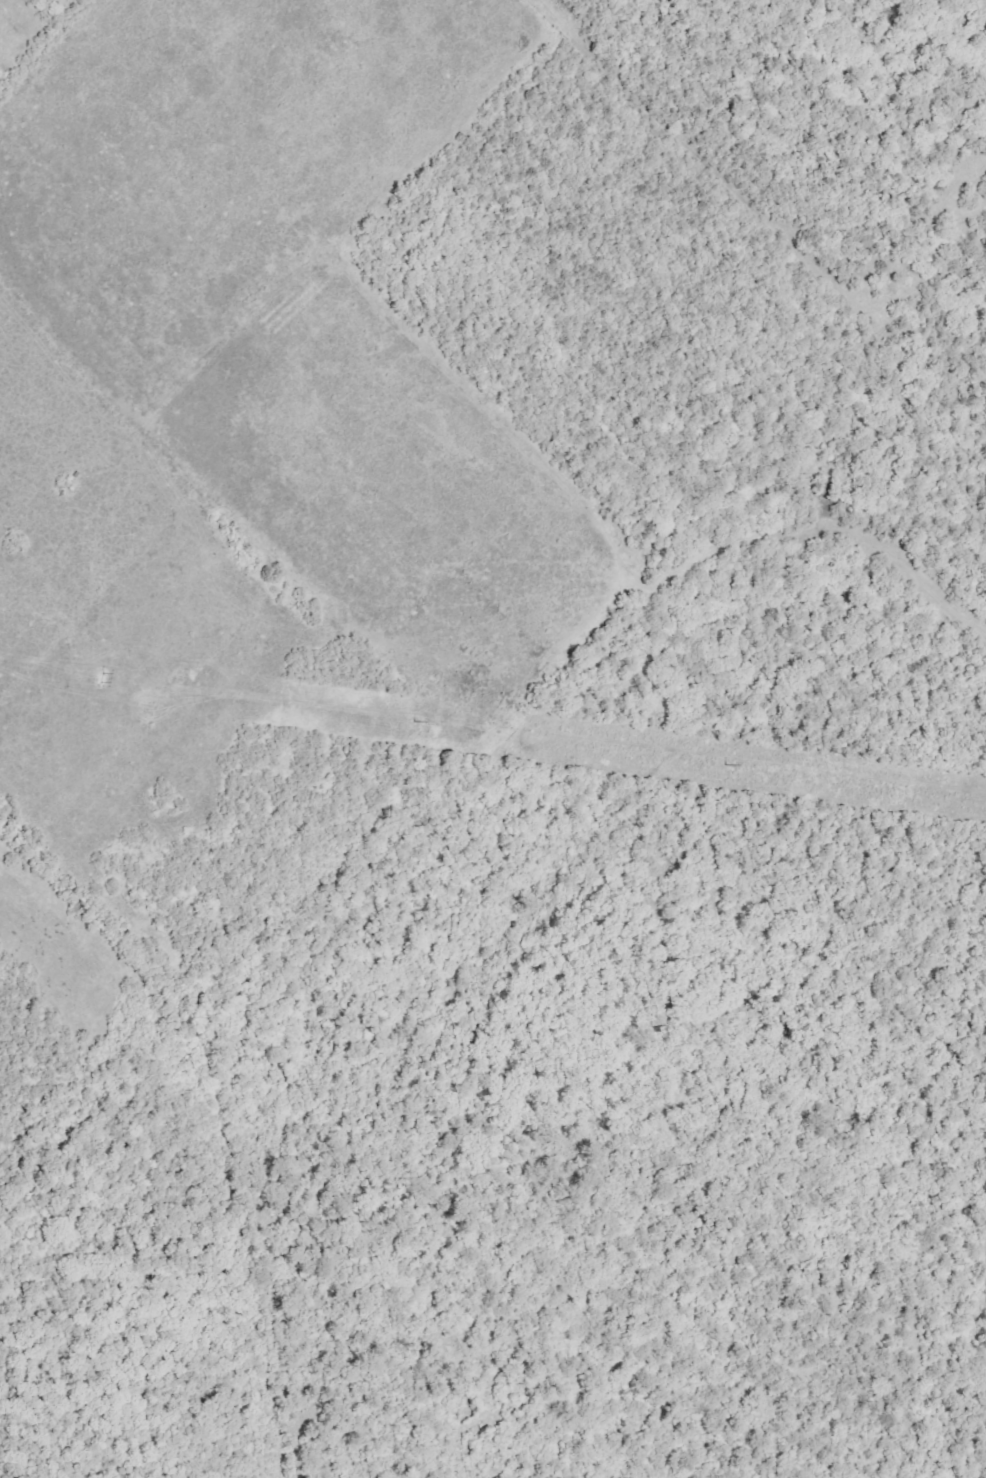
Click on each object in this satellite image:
power tower: (92, 678)
power tower: (405, 721)
power tower: (714, 765)

